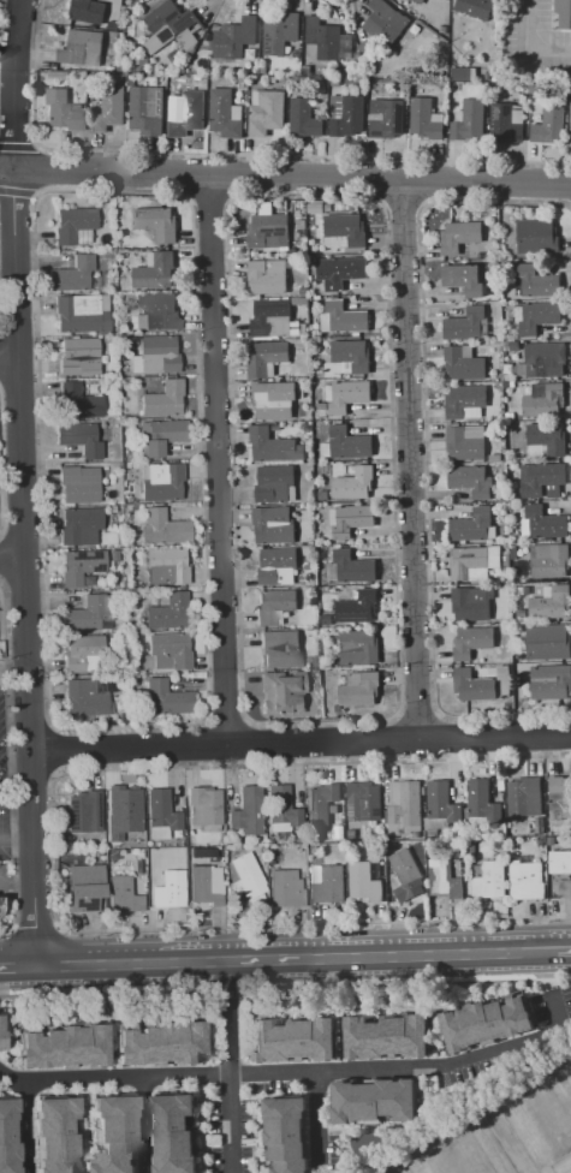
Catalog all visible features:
building: (417, 1)
building: (475, 7)
building: (88, 11)
building: (564, 14)
building: (383, 22)
building: (169, 26)
building: (238, 36)
building: (281, 36)
building: (322, 38)
building: (81, 46)
road: (525, 49)
building: (167, 58)
building: (141, 60)
building: (121, 64)
building: (109, 69)
building: (262, 69)
building: (463, 72)
building: (58, 75)
building: (272, 79)
building: (335, 82)
building: (399, 85)
building: (517, 96)
building: (60, 109)
building: (108, 109)
building: (145, 111)
building: (267, 112)
building: (189, 114)
building: (224, 114)
building: (347, 115)
building: (304, 118)
building: (386, 118)
building: (424, 120)
building: (470, 120)
building: (506, 121)
building: (549, 121)
building: (570, 123)
road: (285, 178)
building: (315, 207)
building: (334, 207)
building: (155, 222)
building: (301, 224)
building: (75, 225)
building: (268, 232)
building: (343, 232)
building: (460, 236)
building: (535, 236)
building: (290, 264)
building: (154, 270)
building: (340, 270)
building: (71, 274)
building: (267, 276)
building: (463, 278)
building: (93, 280)
building: (537, 281)
building: (112, 287)
building: (303, 292)
building: (305, 300)
building: (159, 311)
building: (81, 314)
building: (270, 317)
building: (343, 317)
building: (537, 317)
building: (466, 324)
building: (296, 328)
building: (103, 339)
building: (123, 340)
building: (513, 346)
building: (156, 355)
building: (518, 355)
building: (351, 356)
building: (78, 357)
building: (266, 357)
building: (543, 361)
road: (10, 363)
building: (463, 363)
building: (507, 367)
building: (506, 377)
building: (91, 388)
building: (346, 395)
building: (162, 399)
building: (274, 400)
building: (543, 400)
building: (77, 401)
building: (465, 401)
building: (321, 406)
building: (510, 416)
building: (162, 436)
building: (77, 437)
building: (546, 440)
building: (349, 442)
building: (466, 442)
building: (274, 447)
building: (325, 449)
road: (215, 460)
road: (408, 460)
building: (515, 465)
building: (129, 470)
building: (543, 480)
building: (471, 481)
road: (20, 482)
building: (161, 482)
building: (274, 482)
building: (352, 482)
building: (78, 484)
building: (322, 495)
building: (352, 519)
building: (542, 523)
building: (273, 525)
building: (474, 525)
building: (79, 526)
building: (162, 528)
building: (513, 553)
building: (113, 556)
road: (11, 560)
building: (474, 561)
building: (543, 561)
building: (165, 566)
building: (276, 566)
building: (352, 566)
building: (79, 567)
building: (313, 600)
building: (521, 601)
building: (470, 603)
building: (551, 603)
building: (273, 605)
building: (355, 606)
building: (167, 612)
building: (87, 613)
building: (325, 620)
building: (471, 642)
building: (551, 642)
building: (358, 647)
building: (280, 649)
building: (167, 651)
building: (83, 654)
road: (13, 671)
building: (475, 681)
building: (551, 681)
building: (326, 684)
building: (358, 687)
building: (280, 692)
building: (84, 698)
building: (166, 698)
road: (299, 744)
parking lot: (6, 773)
building: (560, 794)
building: (524, 797)
building: (363, 800)
building: (482, 800)
building: (441, 802)
building: (322, 804)
building: (204, 806)
building: (281, 806)
building: (404, 808)
building: (84, 811)
building: (249, 811)
building: (126, 815)
building: (160, 815)
building: (539, 824)
building: (278, 827)
building: (339, 832)
building: (551, 840)
building: (268, 841)
building: (500, 842)
building: (539, 842)
road: (16, 845)
building: (471, 847)
building: (262, 849)
building: (434, 850)
building: (178, 851)
building: (190, 851)
building: (231, 851)
building: (560, 861)
building: (405, 868)
building: (245, 875)
parking lot: (7, 879)
building: (444, 879)
building: (488, 879)
building: (368, 880)
building: (525, 880)
building: (206, 885)
building: (329, 885)
road: (17, 886)
building: (84, 887)
building: (285, 888)
building: (561, 888)
building: (168, 889)
building: (123, 894)
building: (0, 906)
road: (564, 947)
road: (356, 955)
road: (96, 964)
road: (18, 966)
road: (547, 967)
road: (434, 981)
road: (334, 986)
road: (13, 993)
road: (477, 996)
road: (356, 1013)
road: (71, 1017)
road: (108, 1018)
building: (484, 1023)
building: (0, 1037)
building: (387, 1037)
building: (295, 1041)
road: (340, 1042)
building: (159, 1044)
building: (61, 1047)
road: (227, 1066)
road: (299, 1071)
road: (248, 1083)
building: (563, 1084)
road: (159, 1090)
building: (374, 1101)
road: (316, 1121)
road: (143, 1124)
road: (395, 1125)
road: (23, 1126)
building: (533, 1130)
road: (82, 1132)
building: (173, 1132)
road: (256, 1133)
building: (285, 1133)
building: (114, 1135)
road: (201, 1135)
building: (53, 1136)
building: (7, 1137)
park: (377, 1144)
road: (510, 1144)
building: (481, 1149)
road: (341, 1150)
building: (428, 1162)

